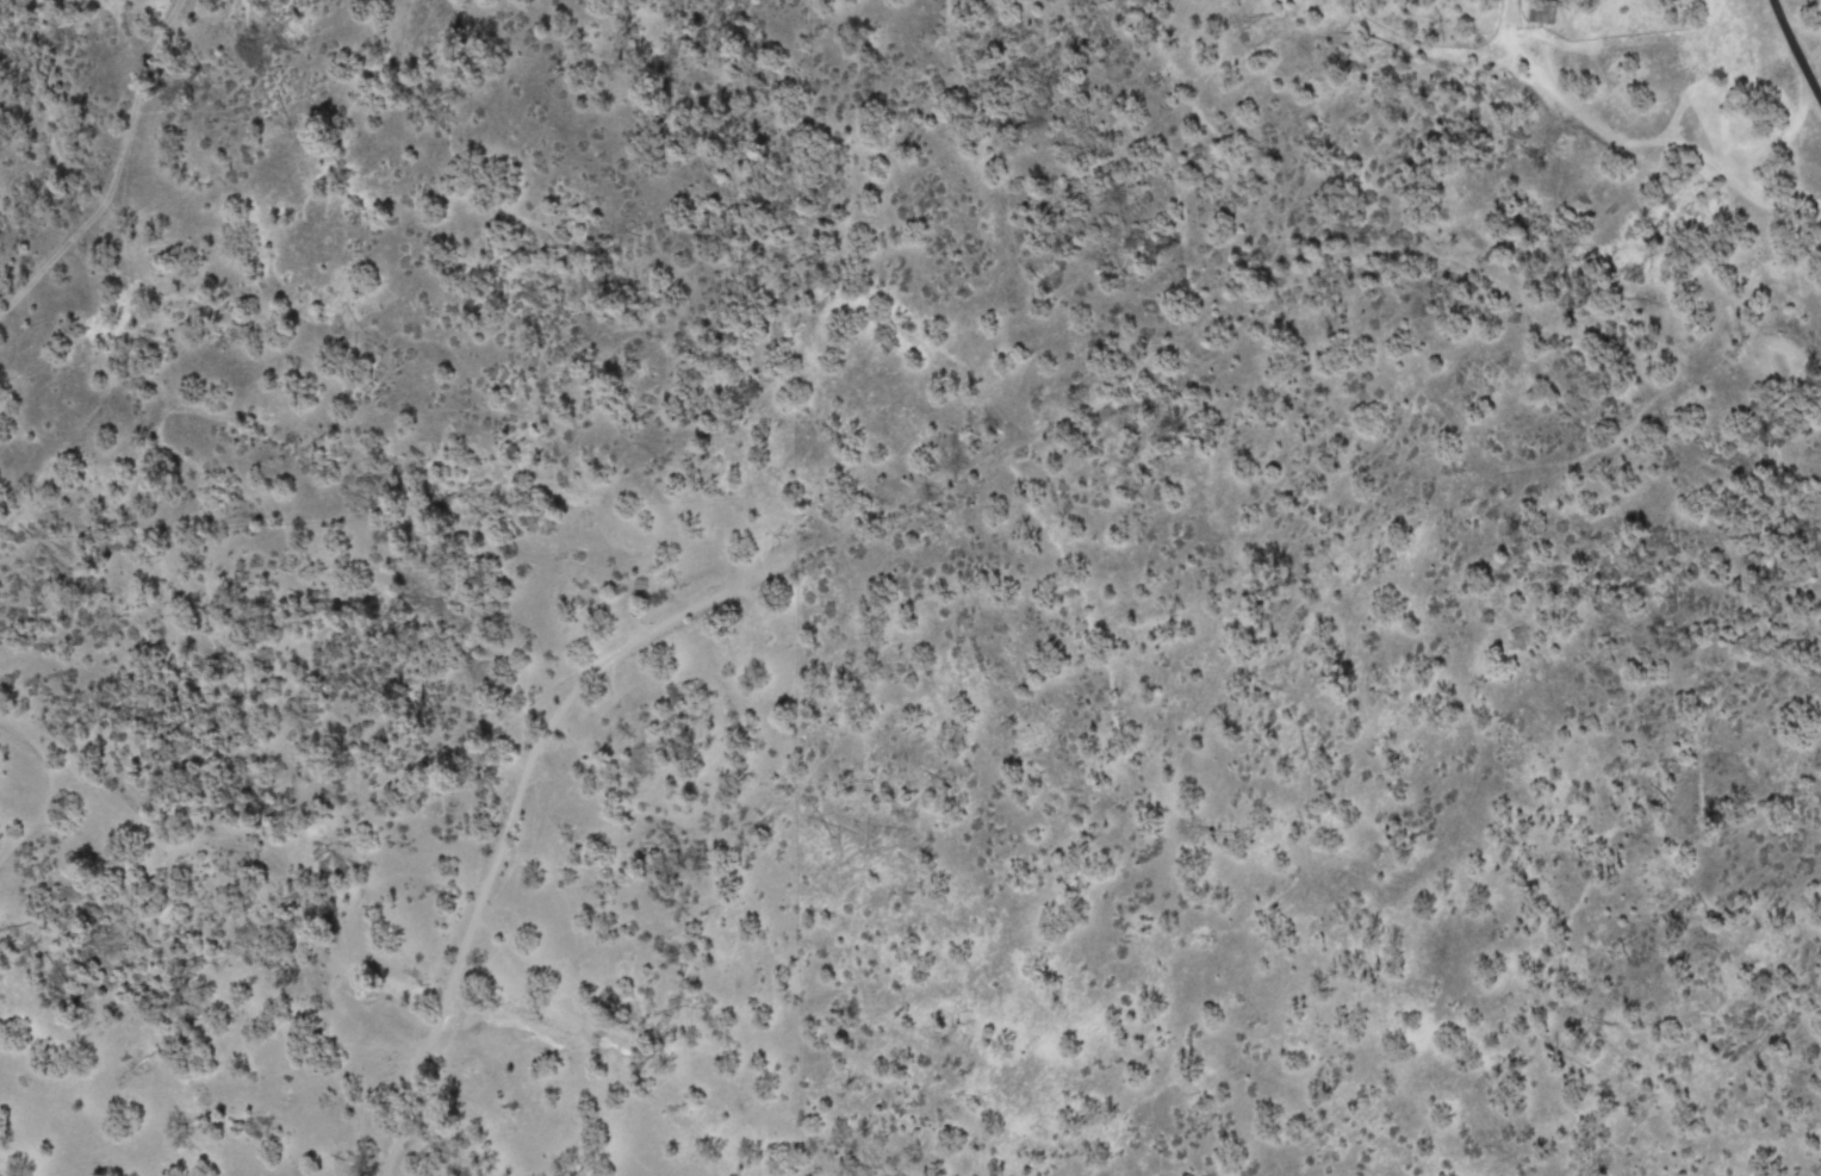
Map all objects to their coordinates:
building: (1547, 12)
road: (1800, 21)
road: (1795, 48)
road: (1813, 66)
road: (107, 151)

